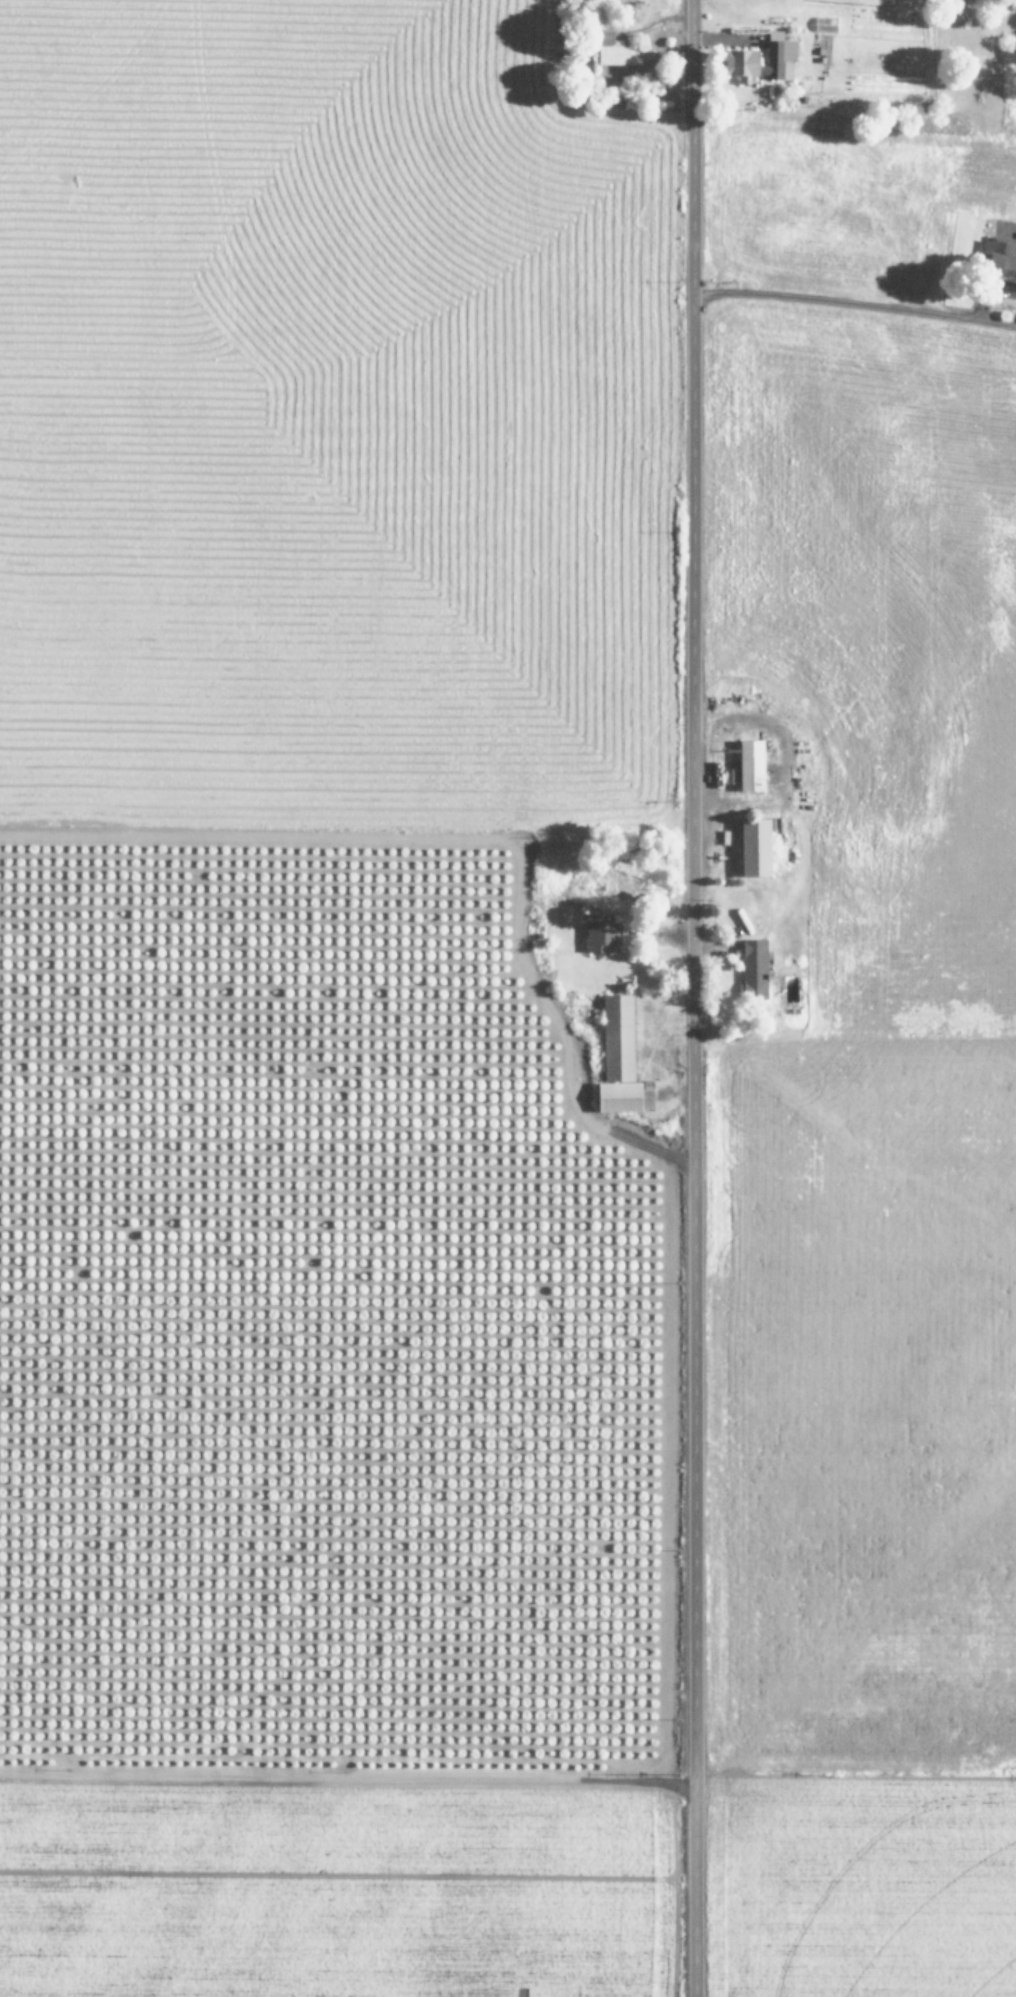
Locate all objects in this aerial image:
building: (615, 51)
building: (741, 57)
building: (999, 254)
road: (854, 333)
building: (751, 765)
building: (755, 847)
building: (601, 936)
building: (753, 968)
road: (693, 998)
crop: (504, 1004)
building: (618, 1057)
road: (347, 1787)

